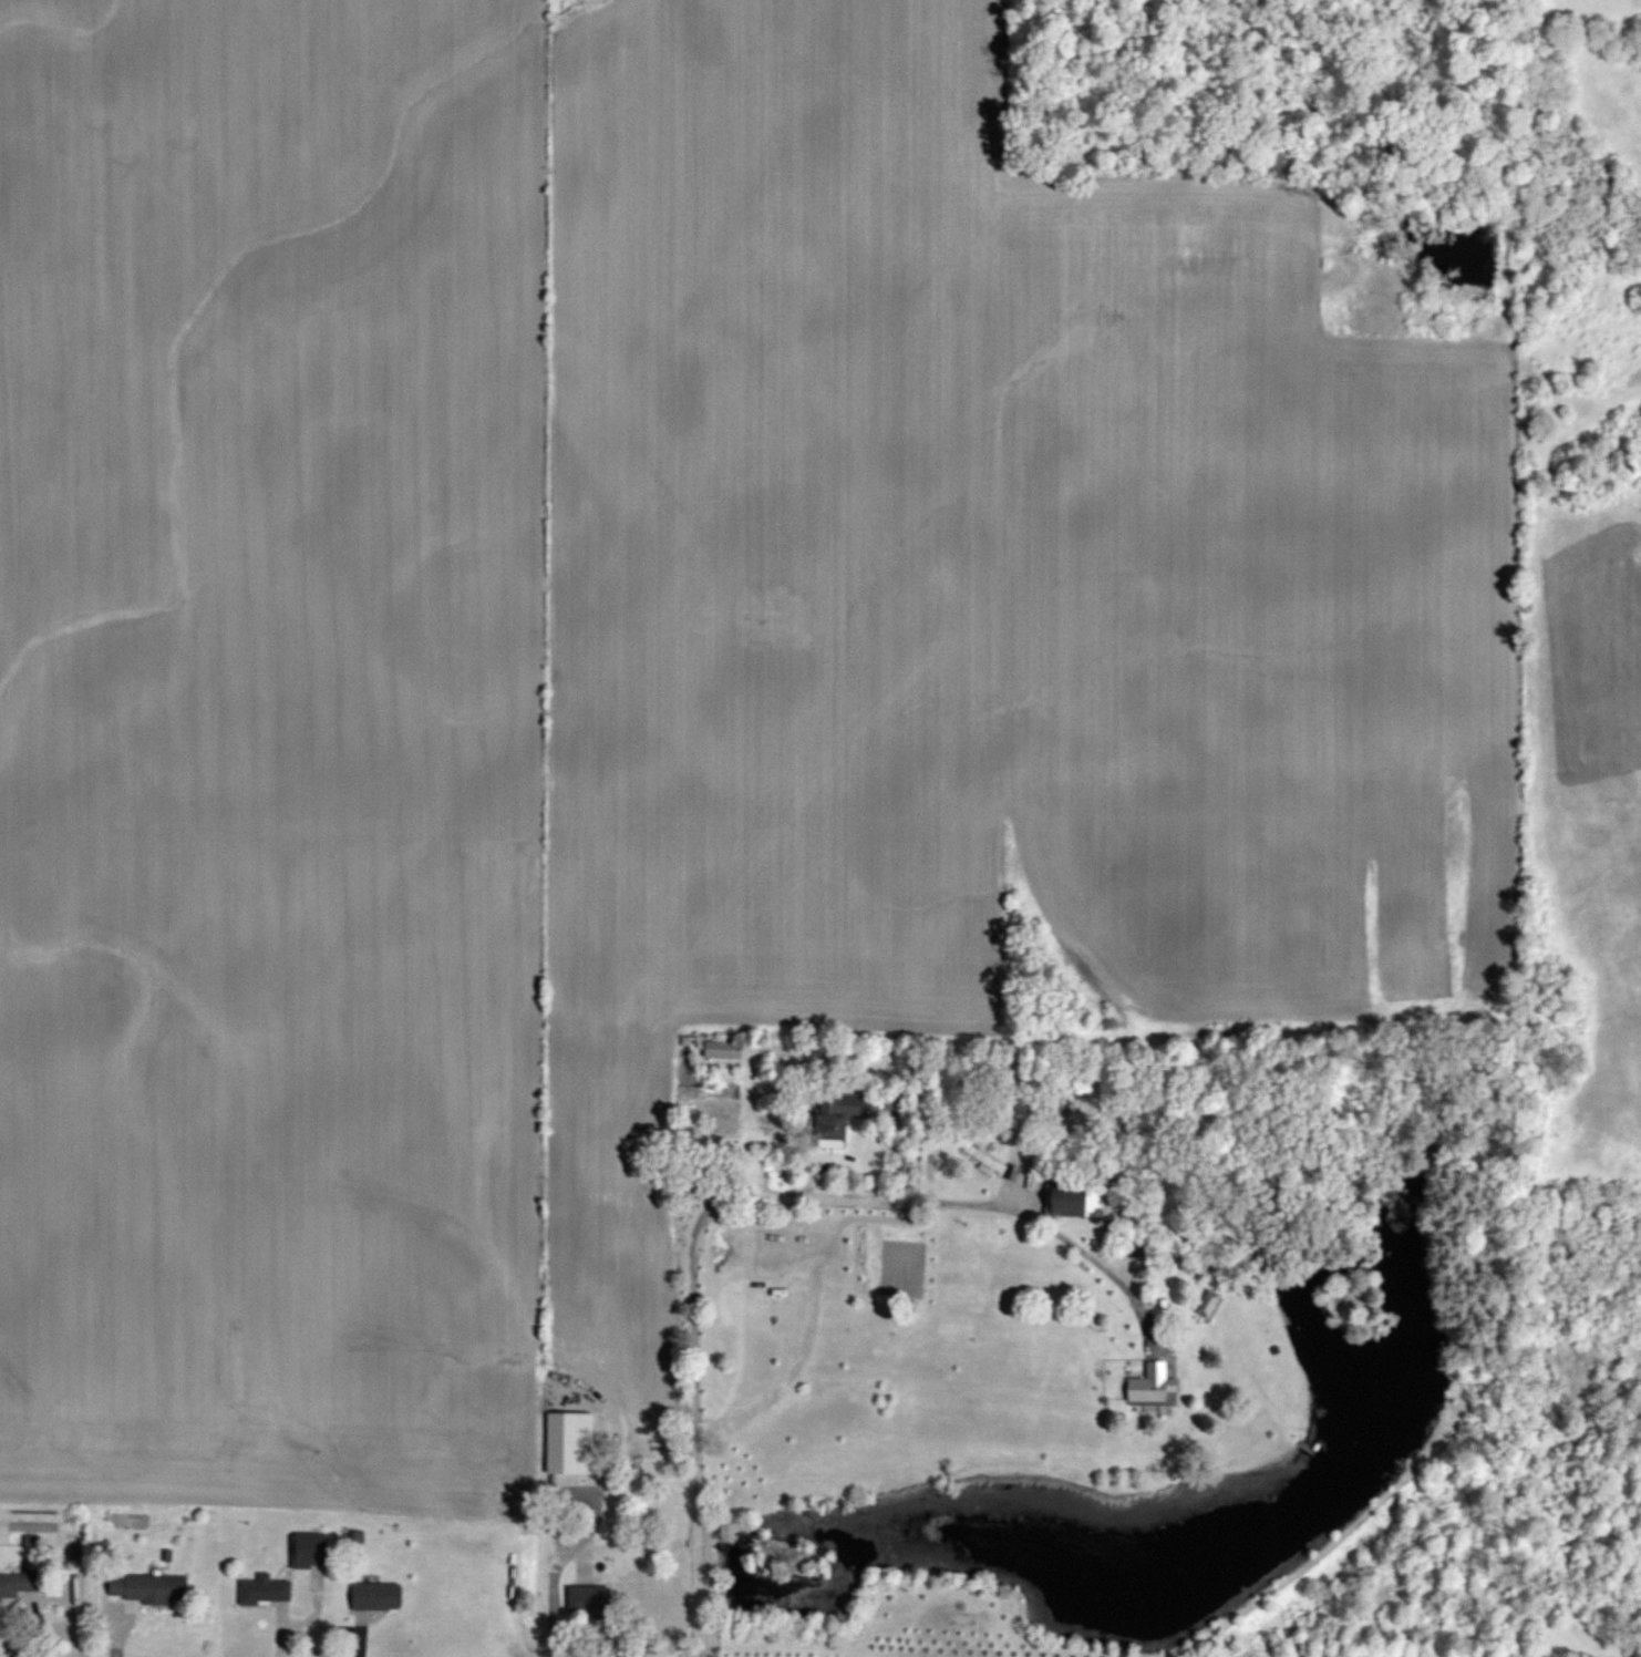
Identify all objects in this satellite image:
building: (729, 1051)
building: (847, 1119)
building: (988, 1160)
road: (733, 1194)
building: (1088, 1204)
building: (1212, 1305)
building: (1158, 1386)
building: (575, 1444)
building: (355, 1540)
building: (316, 1551)
building: (602, 1562)
building: (22, 1586)
building: (152, 1589)
building: (268, 1591)
building: (382, 1597)
building: (598, 1602)

